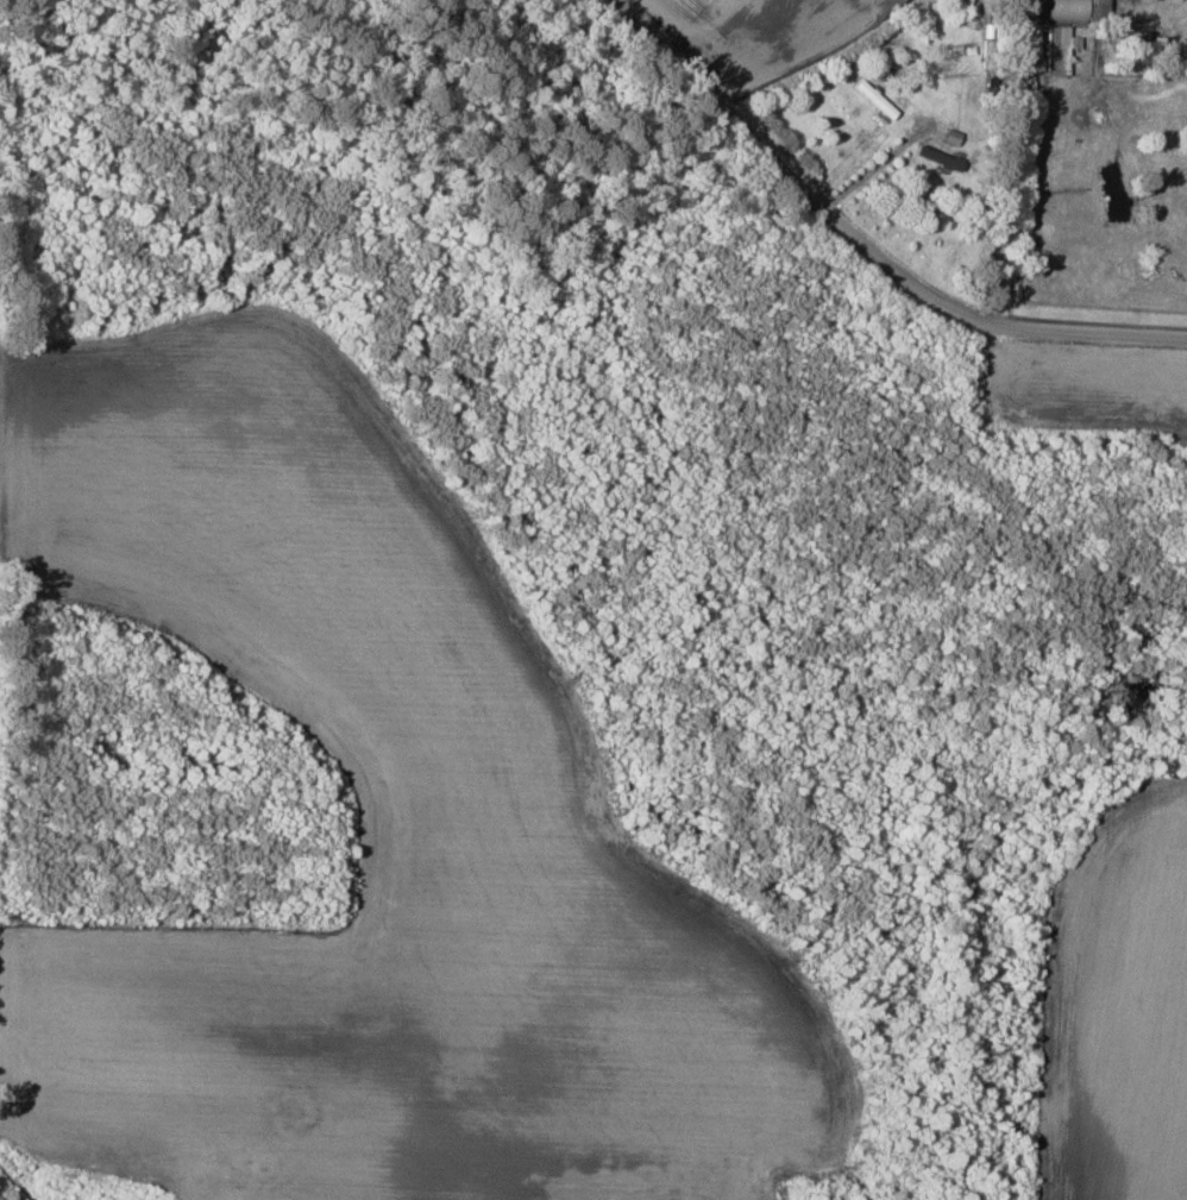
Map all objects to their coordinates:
building: (1067, 29)
building: (874, 98)
building: (952, 136)
building: (940, 156)
road: (1001, 161)
road: (865, 244)

